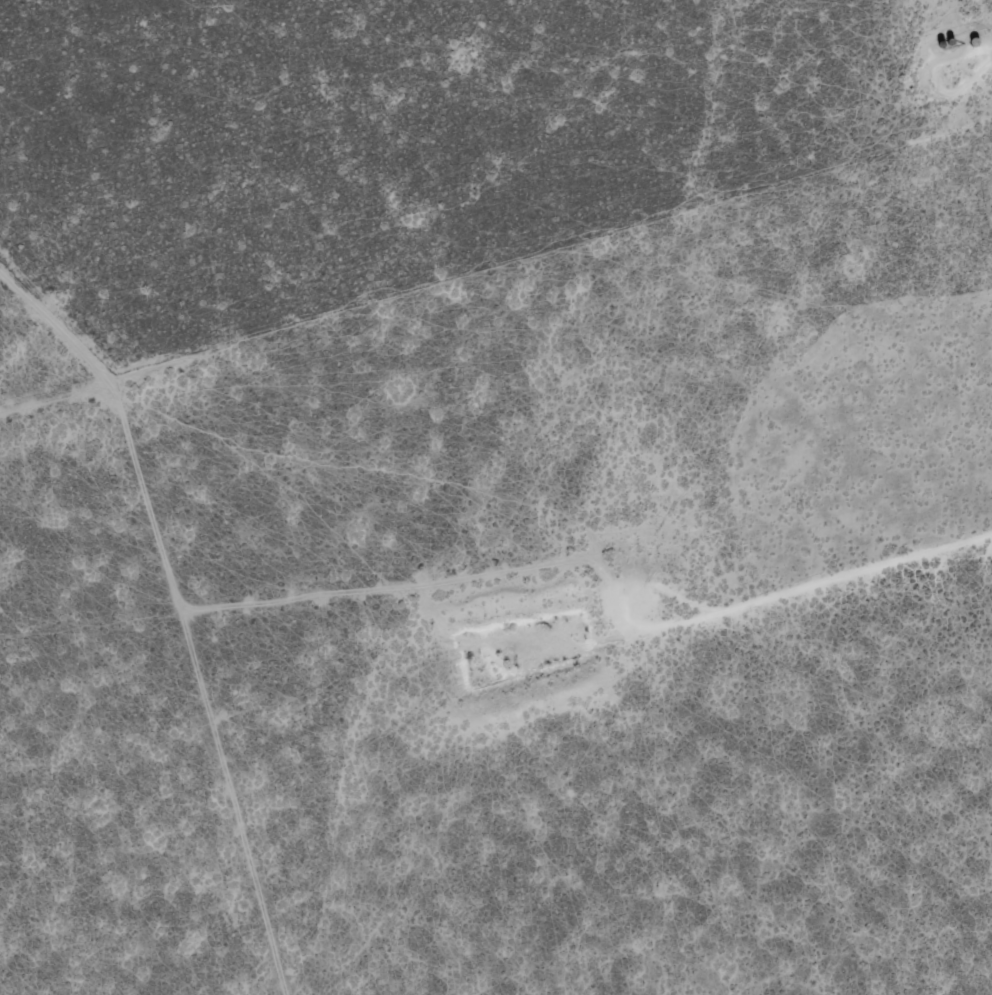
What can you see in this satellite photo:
road: (845, 559)

